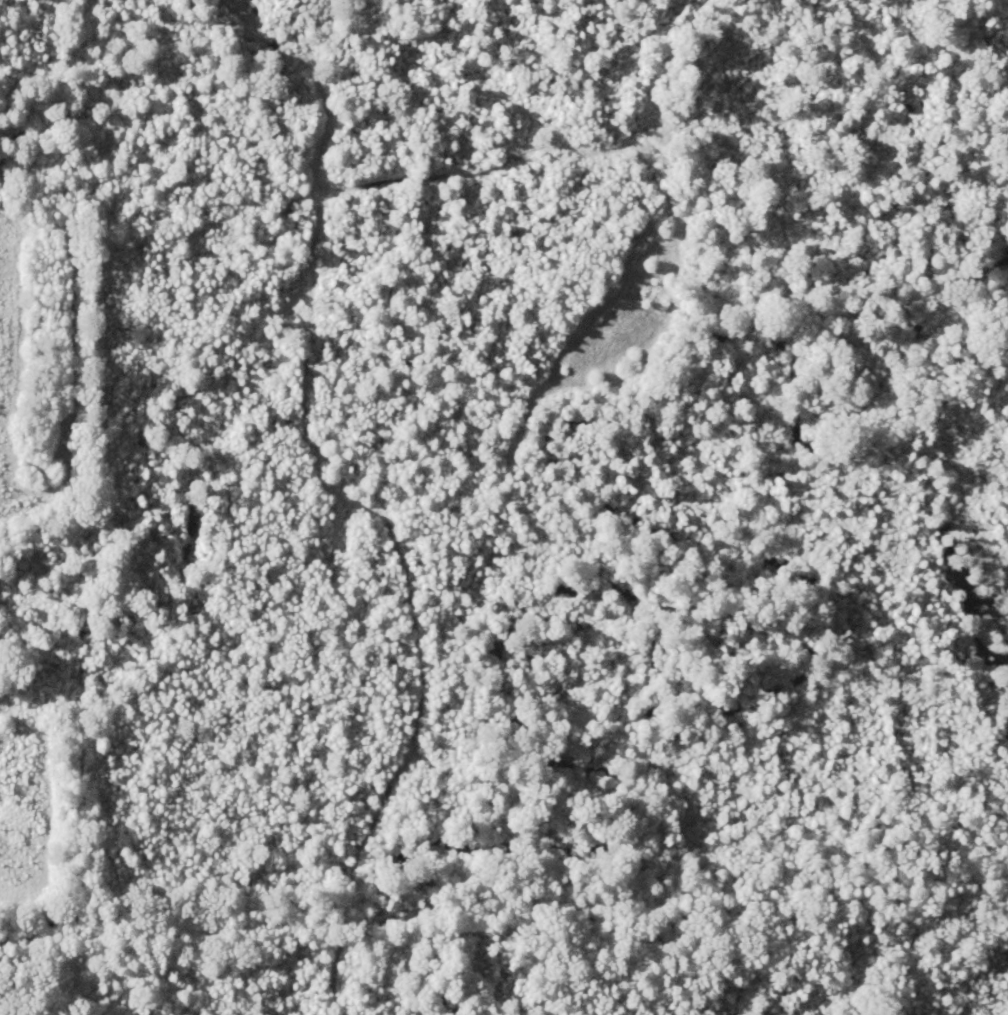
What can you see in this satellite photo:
railway: (504, 909)

